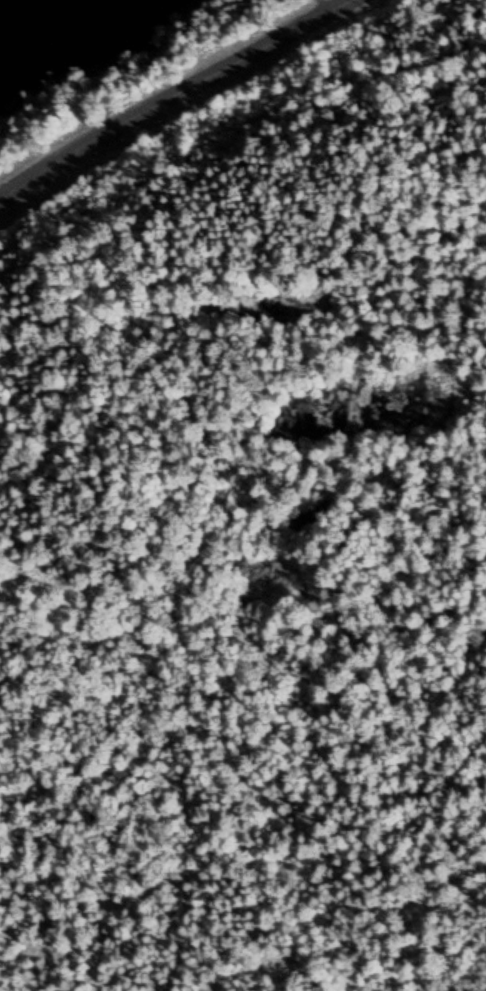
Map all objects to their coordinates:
road: (169, 95)

